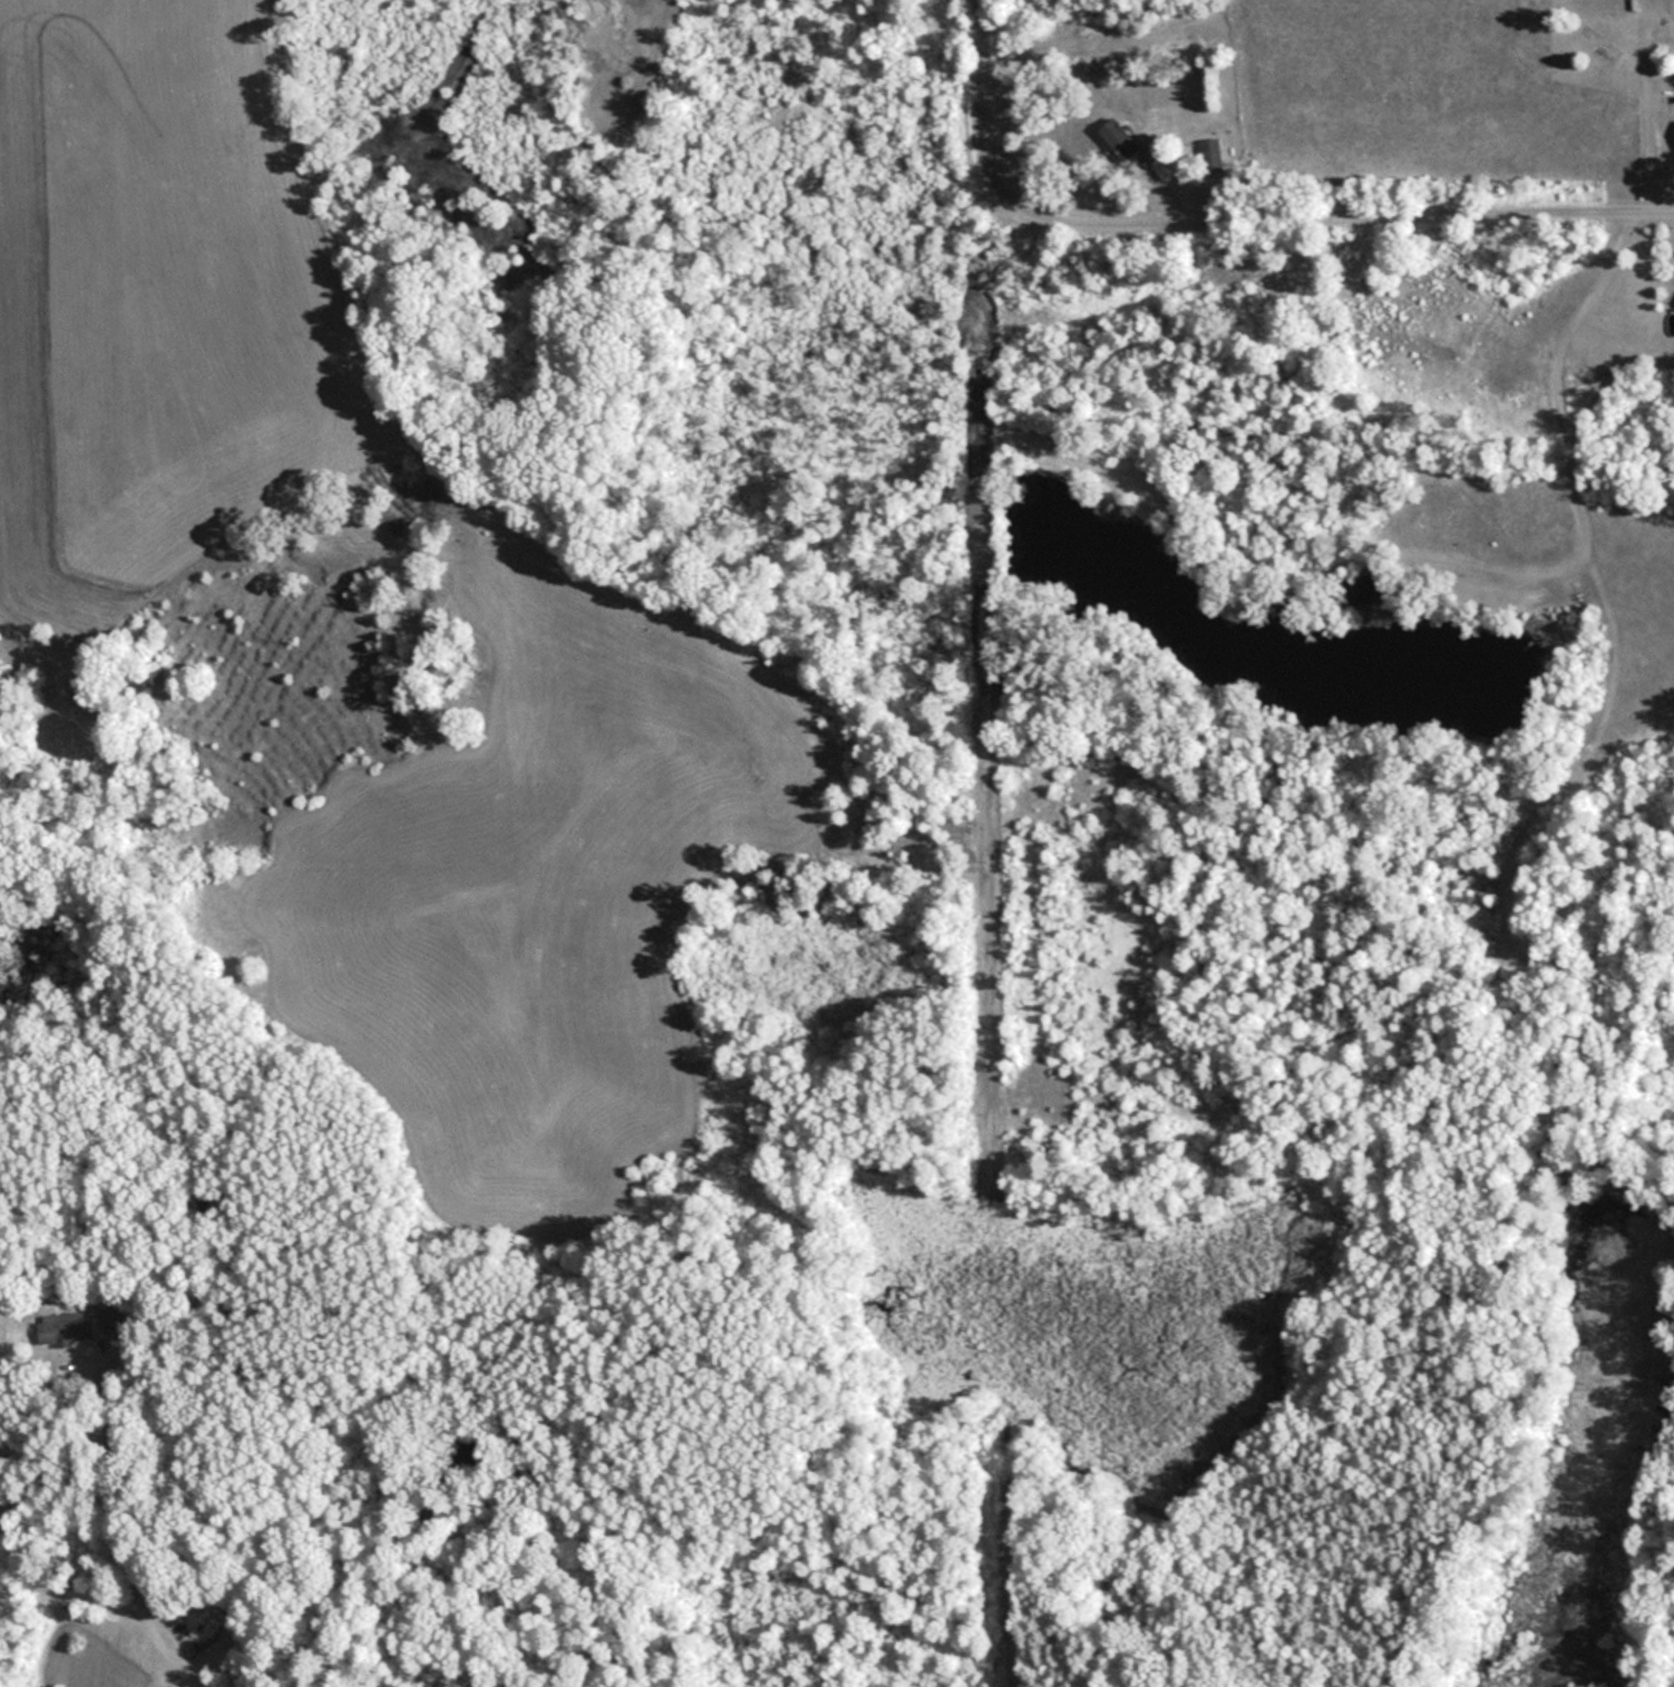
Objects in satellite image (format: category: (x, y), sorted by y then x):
road: (980, 107)
building: (1123, 139)
building: (1214, 156)
road: (1336, 221)
building: (68, 1328)

